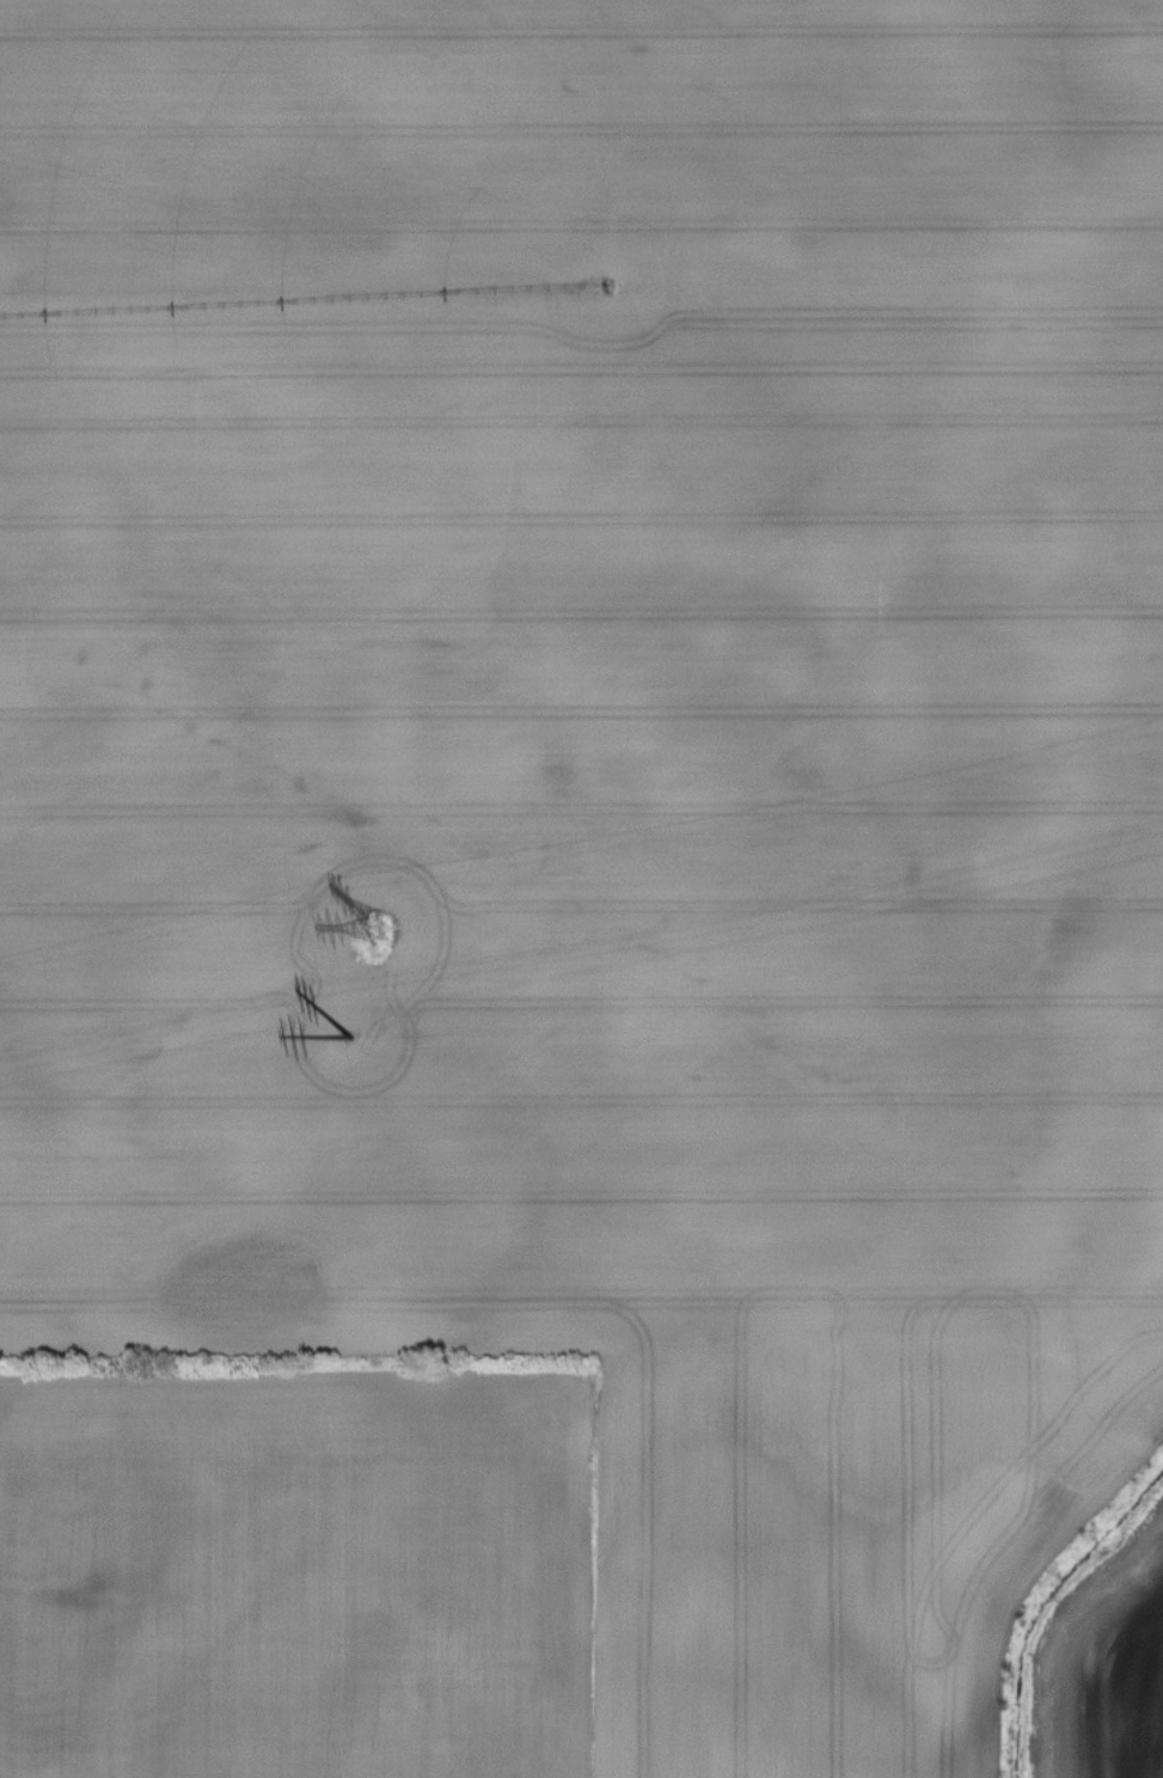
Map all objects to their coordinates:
power tower: (380, 928)
power tower: (343, 1031)

